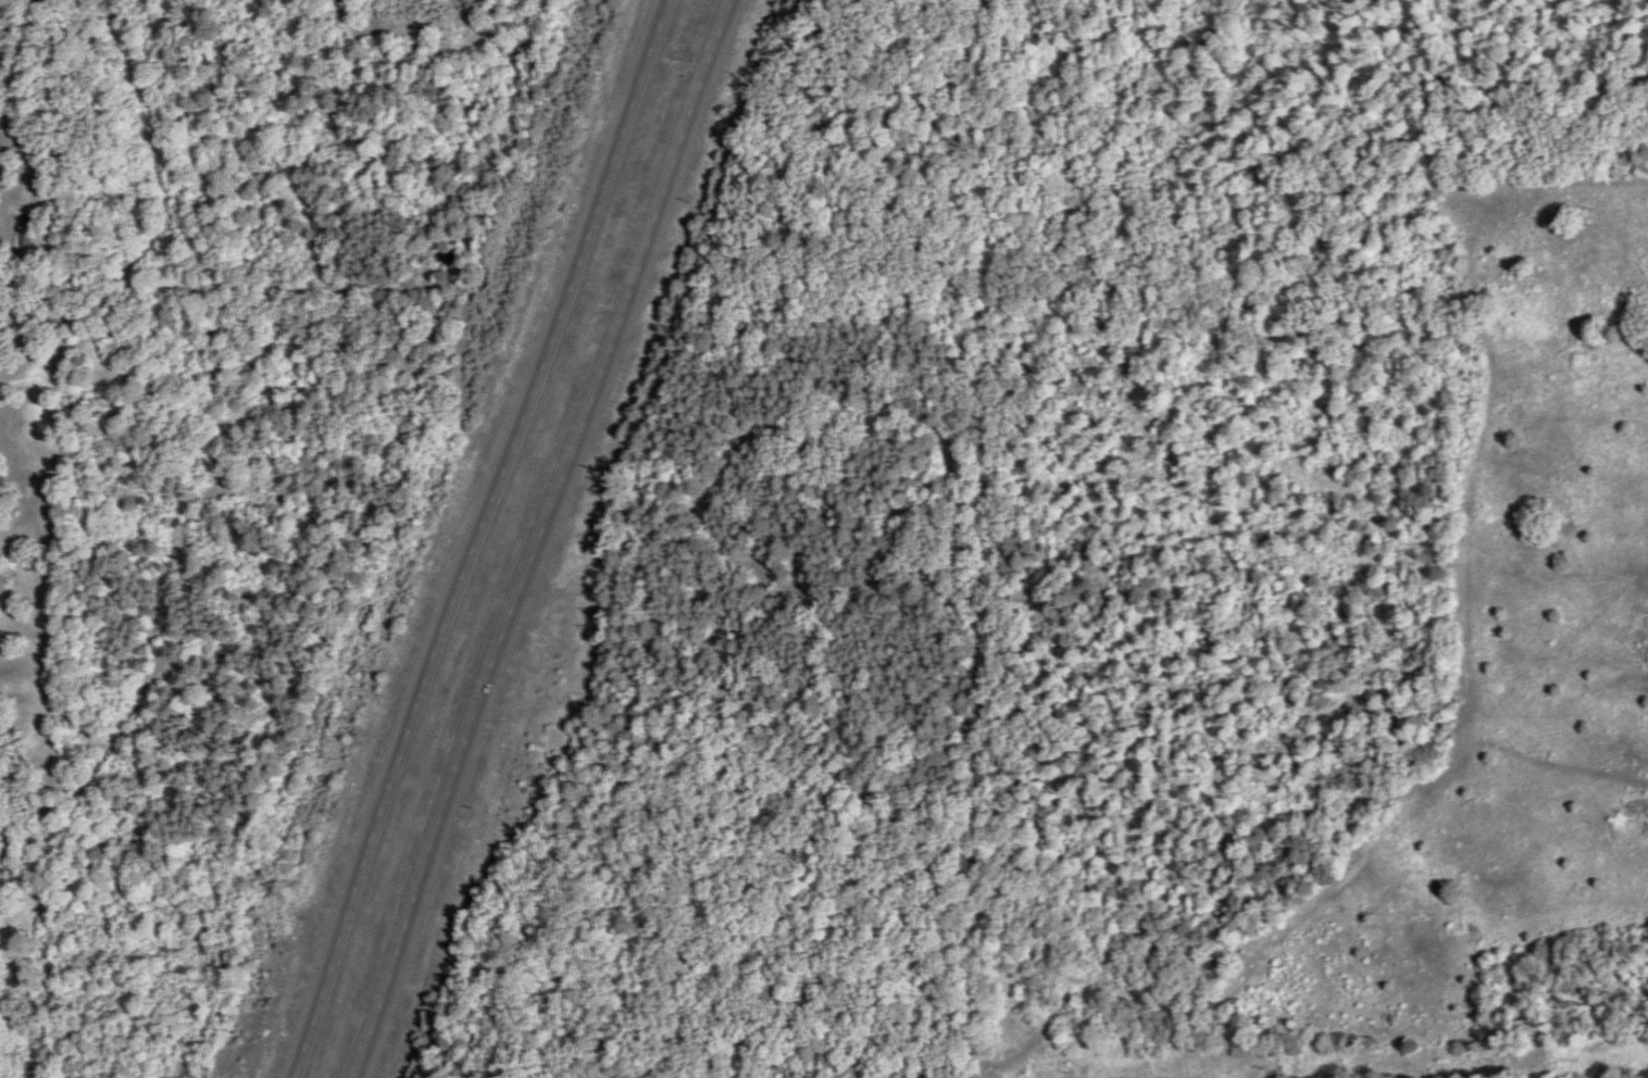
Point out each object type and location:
road: (478, 539)
road: (548, 540)
road: (983, 699)
road: (979, 1069)

